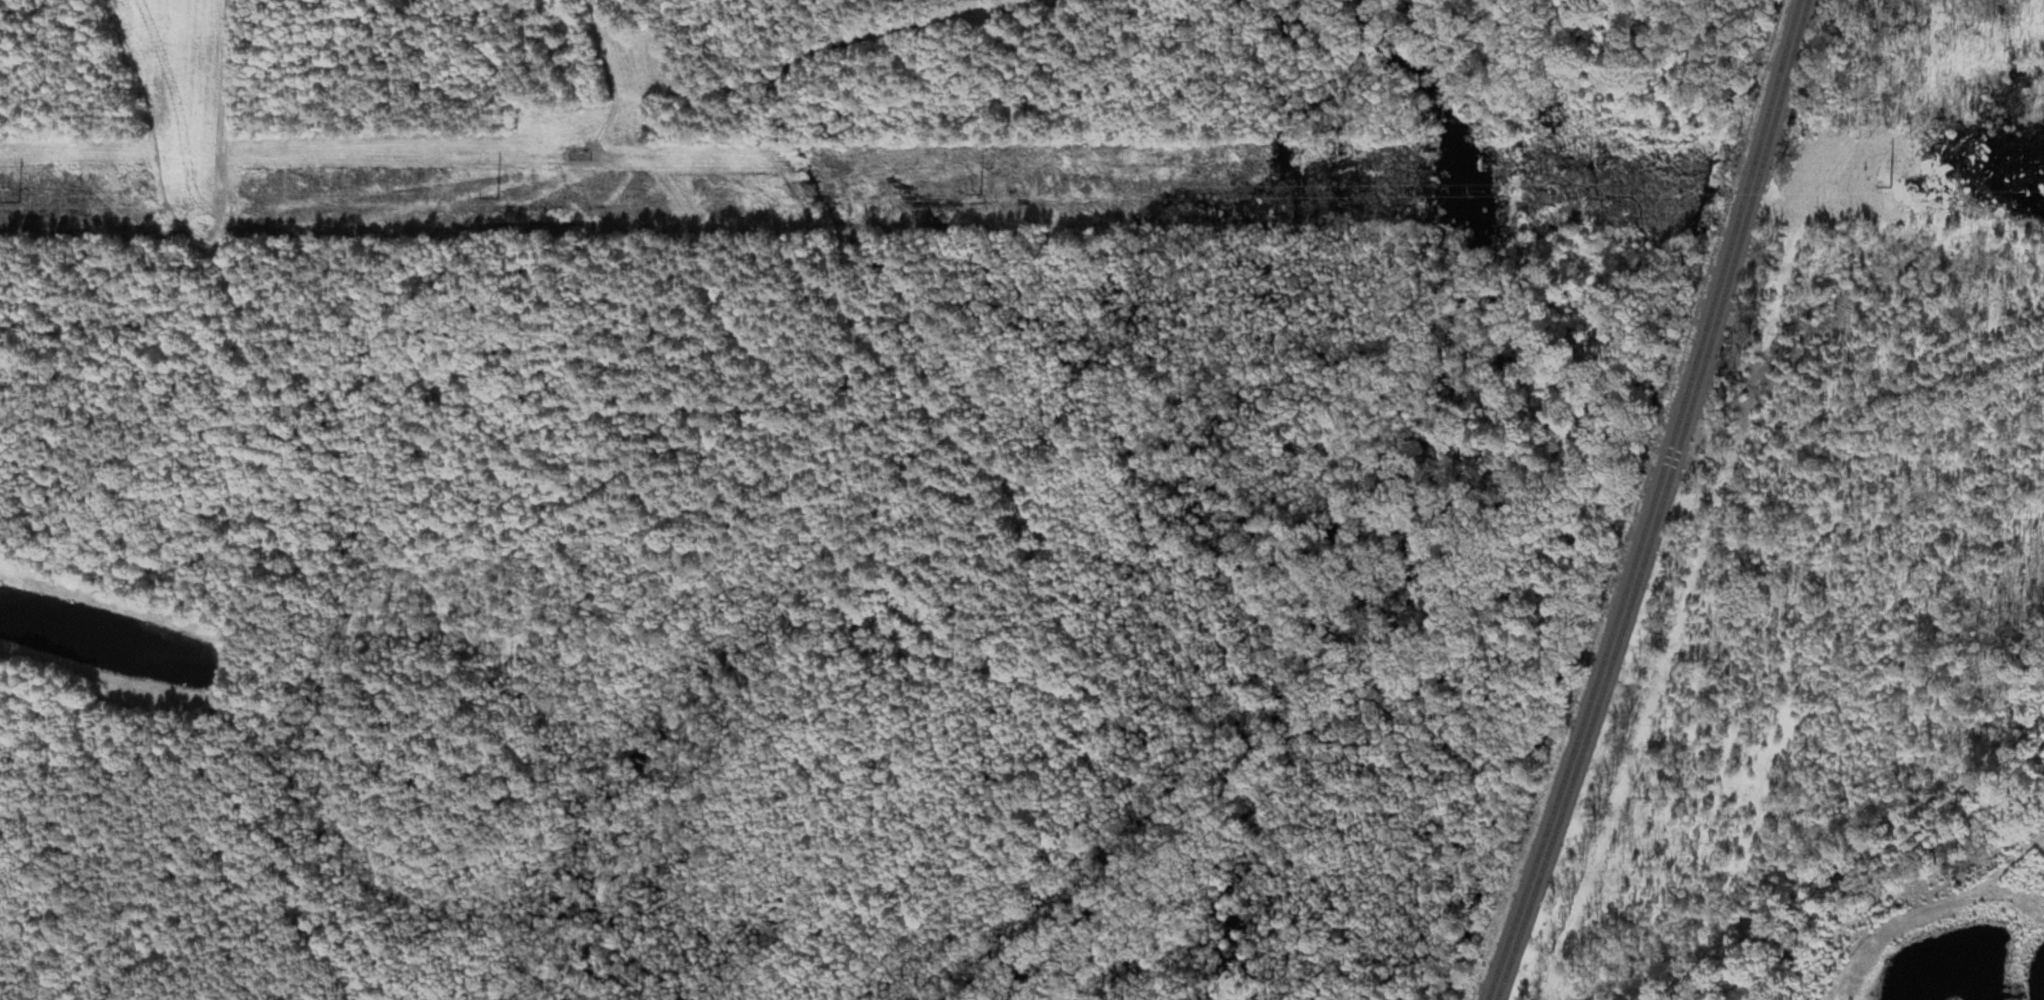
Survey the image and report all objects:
railway: (1654, 503)
railway: (1663, 503)

